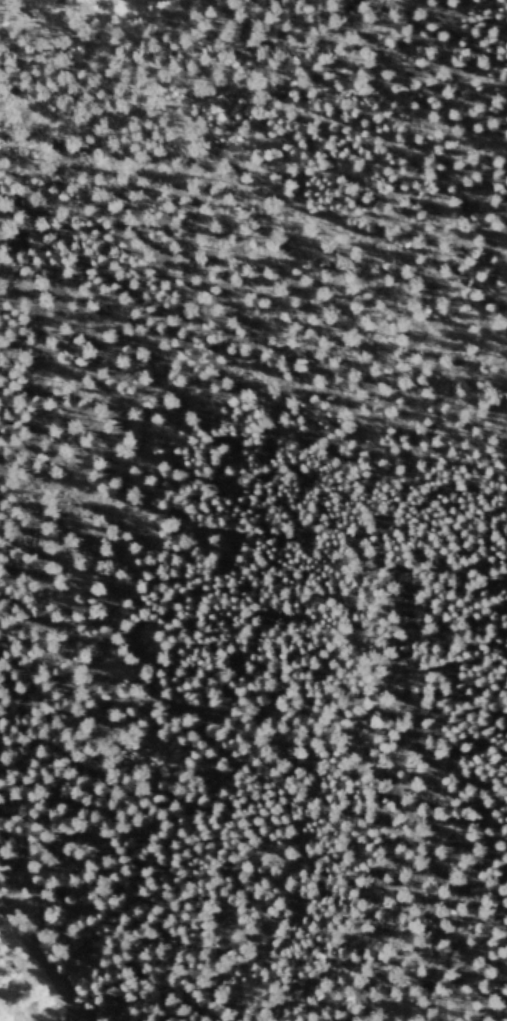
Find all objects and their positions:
road: (170, 101)
road: (10, 386)
road: (128, 795)
road: (42, 964)

